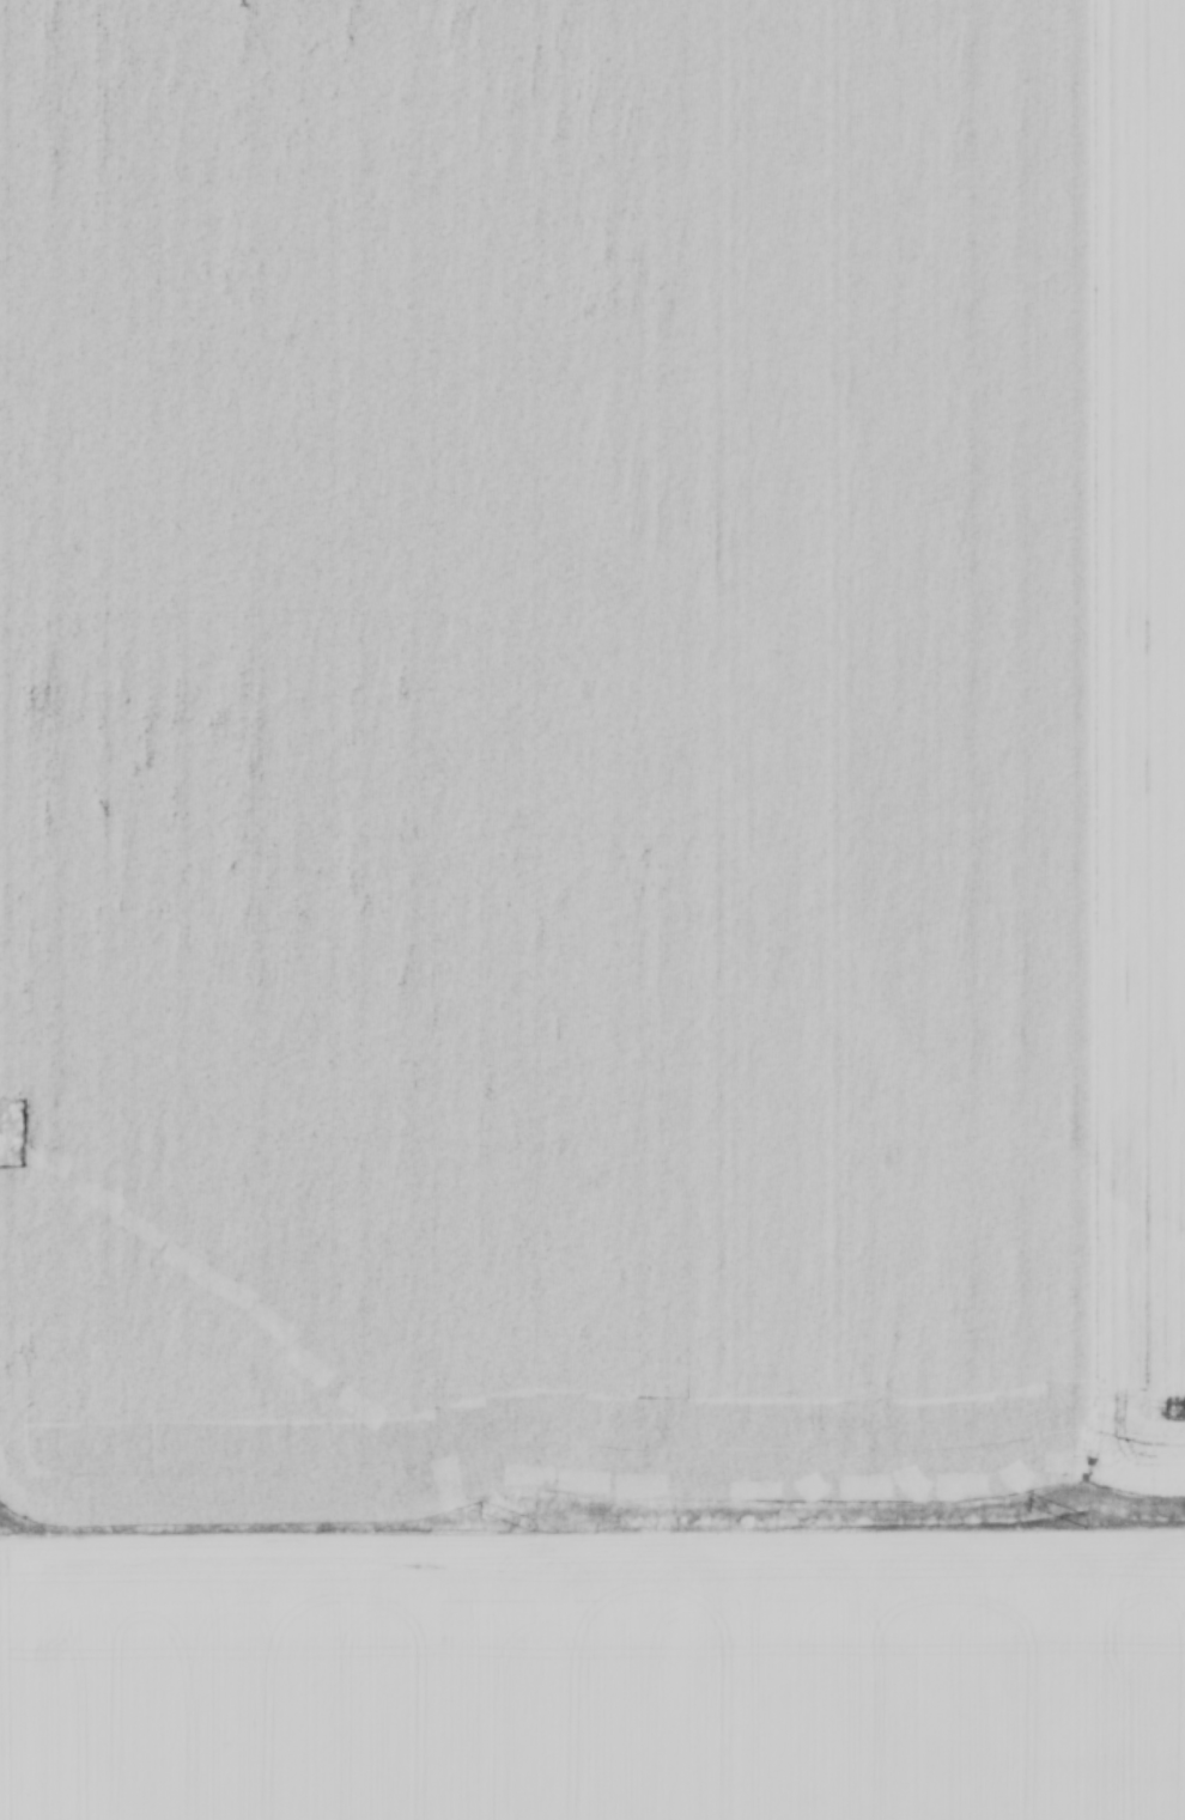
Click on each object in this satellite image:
power tower: (1084, 1520)
power tower: (529, 1523)

